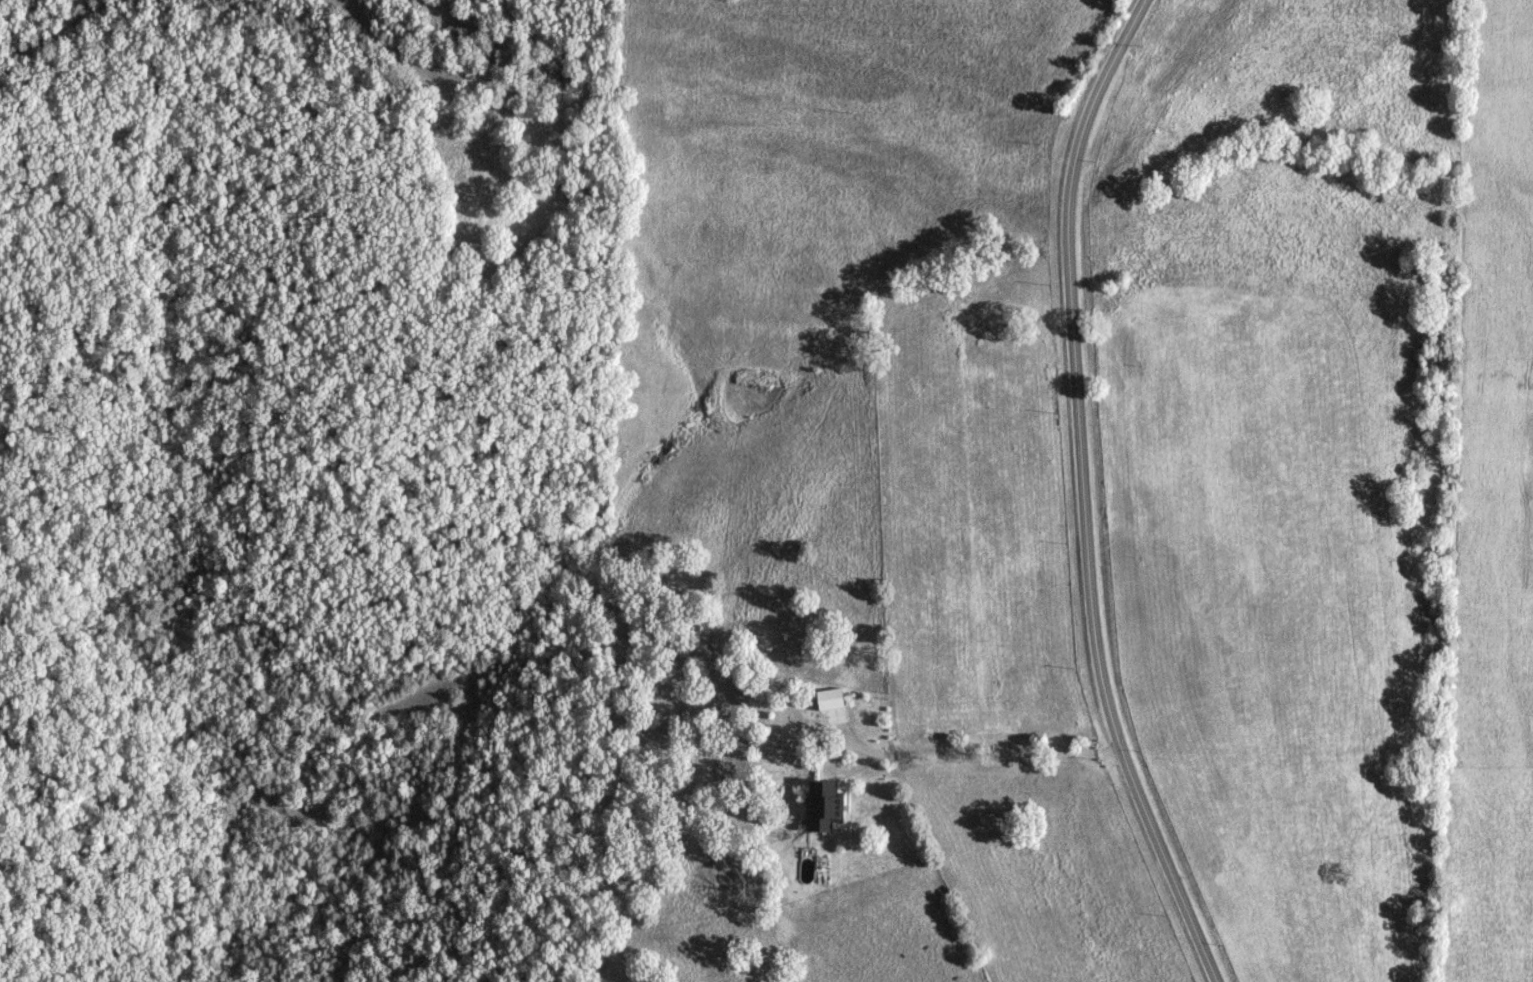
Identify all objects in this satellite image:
road: (1100, 492)
building: (831, 698)
road: (935, 749)

